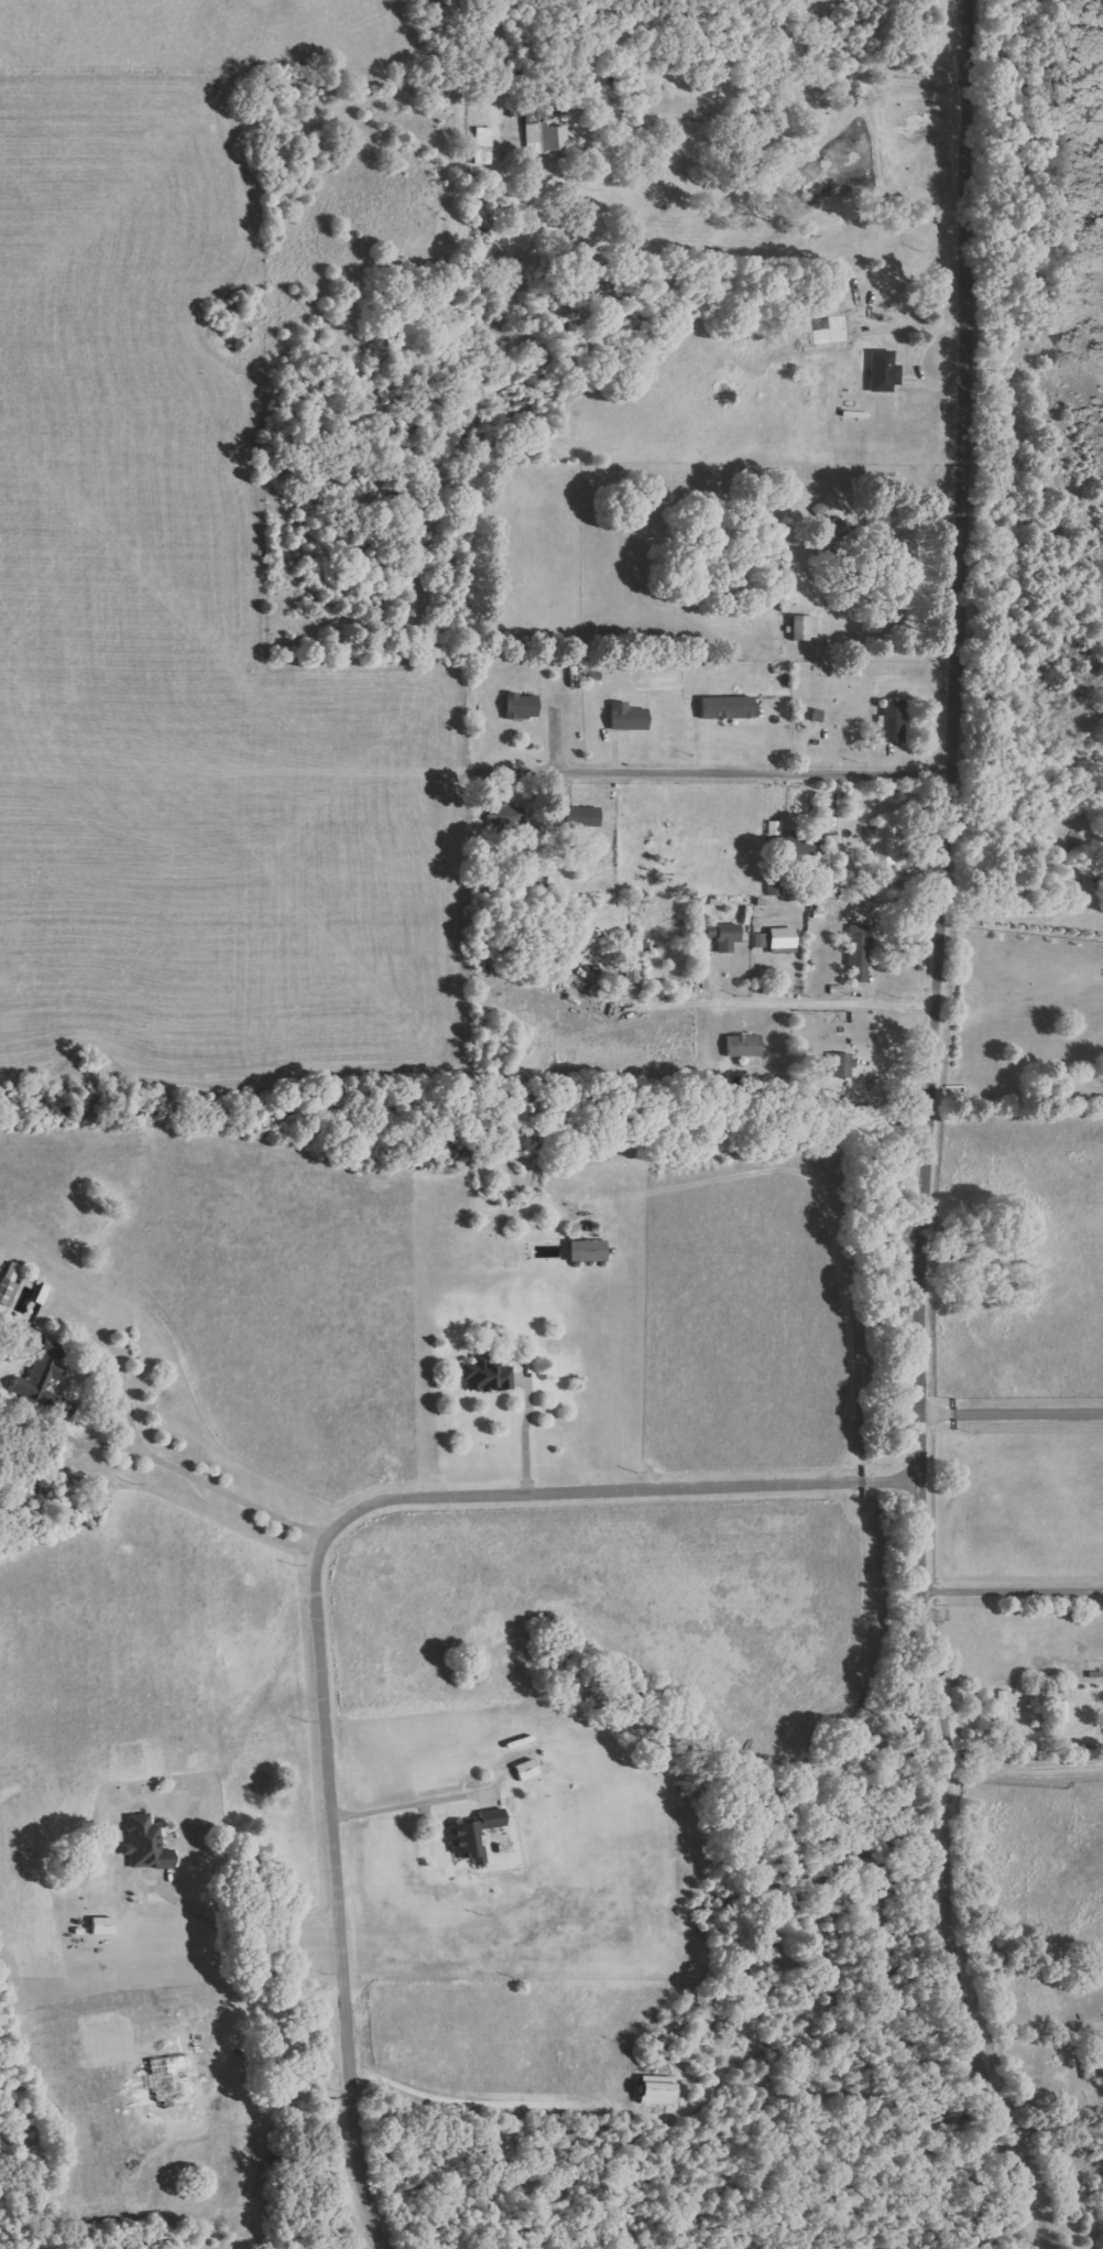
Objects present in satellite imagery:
building: (545, 135)
building: (483, 145)
building: (884, 371)
building: (805, 627)
building: (522, 706)
building: (728, 707)
building: (627, 717)
building: (893, 720)
building: (579, 816)
building: (833, 841)
building: (812, 844)
building: (885, 845)
building: (775, 888)
road: (458, 892)
building: (725, 936)
building: (783, 937)
building: (761, 939)
building: (860, 954)
building: (635, 960)
building: (744, 1045)
building: (842, 1065)
road: (927, 1132)
building: (588, 1251)
building: (8, 1292)
building: (487, 1375)
building: (42, 1376)
road: (1011, 1412)
road: (316, 1590)
road: (1012, 1590)
building: (1002, 1706)
building: (1063, 1710)
building: (474, 1834)
building: (145, 1843)
building: (657, 2089)

